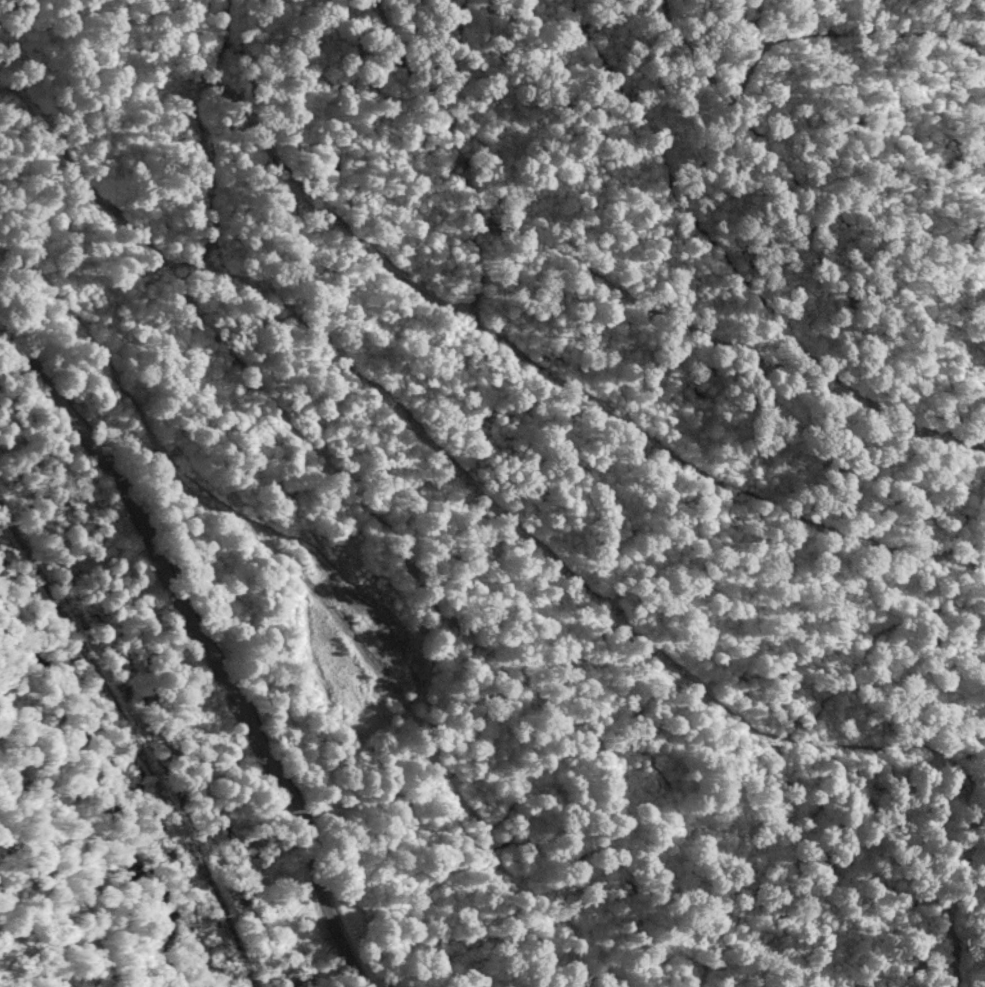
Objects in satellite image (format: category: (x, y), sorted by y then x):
road: (206, 641)
railway: (129, 744)

